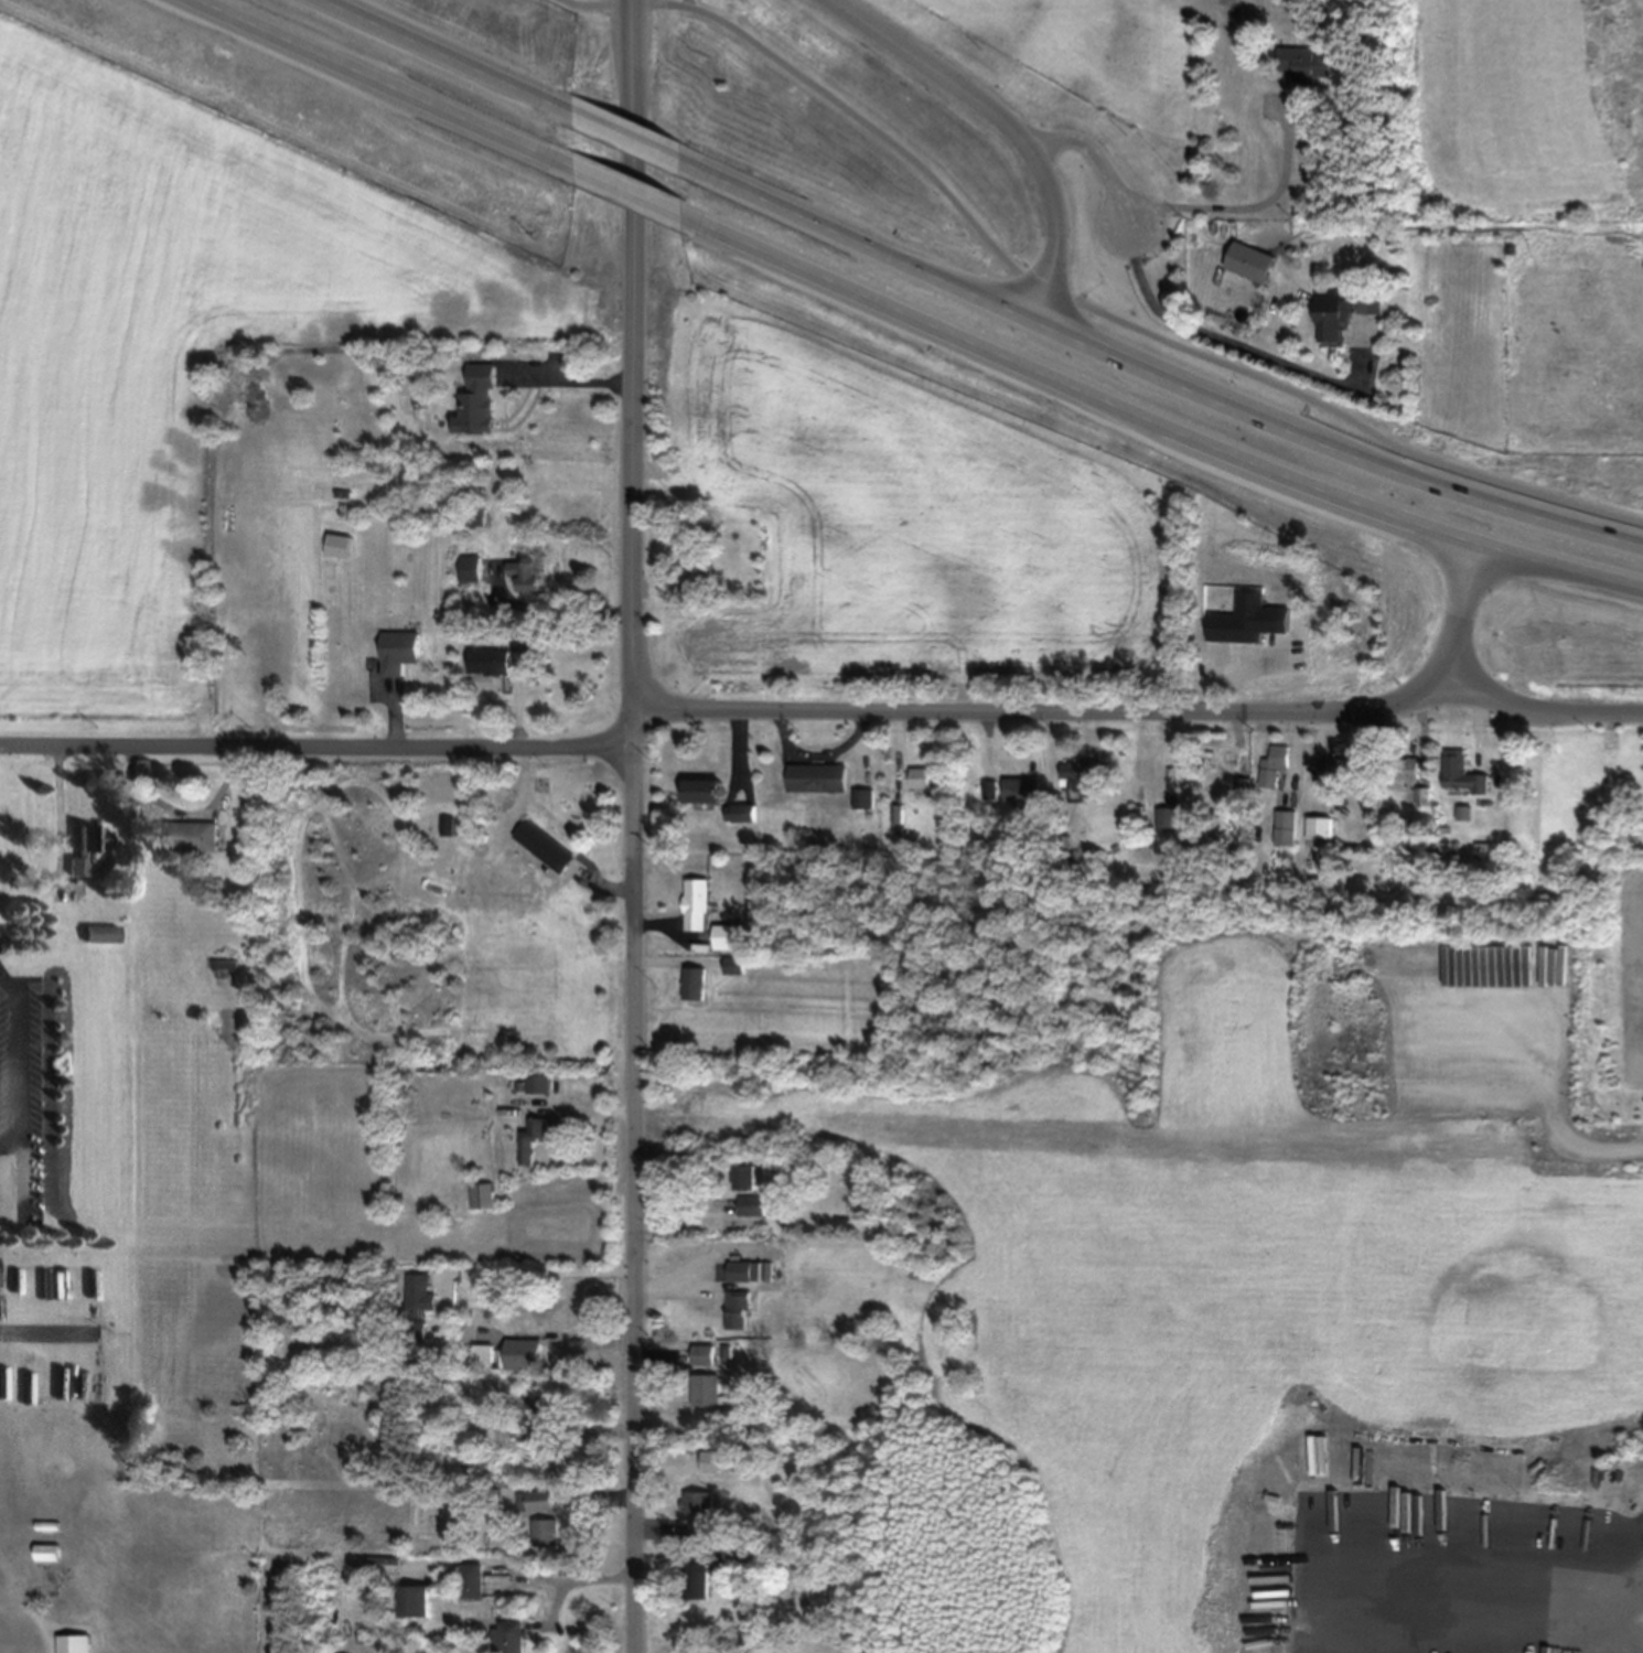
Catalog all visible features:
road: (688, 3)
building: (1309, 62)
road: (442, 65)
crop: (1076, 71)
road: (376, 84)
road: (1003, 121)
road: (635, 153)
road: (1095, 154)
road: (627, 194)
road: (1245, 206)
crop: (1528, 225)
building: (1252, 261)
road: (1074, 299)
building: (1334, 314)
road: (1232, 342)
crop: (189, 356)
road: (1159, 377)
road: (565, 380)
building: (480, 401)
road: (1156, 422)
building: (340, 545)
building: (701, 572)
building: (529, 575)
road: (546, 607)
road: (1461, 612)
building: (523, 643)
building: (400, 651)
building: (491, 662)
road: (820, 718)
building: (1218, 758)
building: (1275, 765)
building: (1345, 765)
building: (1461, 772)
building: (921, 776)
building: (817, 777)
building: (1082, 777)
building: (702, 790)
building: (1024, 790)
building: (865, 798)
building: (741, 812)
building: (1168, 817)
road: (630, 826)
building: (1287, 827)
building: (1320, 827)
building: (189, 836)
building: (545, 845)
building: (87, 848)
building: (697, 903)
building: (101, 933)
building: (226, 965)
building: (696, 983)
building: (539, 1084)
road: (587, 1109)
building: (537, 1131)
building: (745, 1177)
building: (484, 1194)
building: (751, 1204)
road: (524, 1265)
building: (744, 1270)
building: (418, 1305)
building: (738, 1309)
building: (523, 1353)
building: (704, 1354)
building: (484, 1356)
building: (707, 1389)
building: (541, 1415)
building: (538, 1502)
building: (700, 1513)
building: (548, 1532)
building: (49, 1553)
building: (474, 1580)
building: (699, 1580)
building: (845, 1592)
building: (415, 1601)
building: (512, 1636)
building: (75, 1643)

